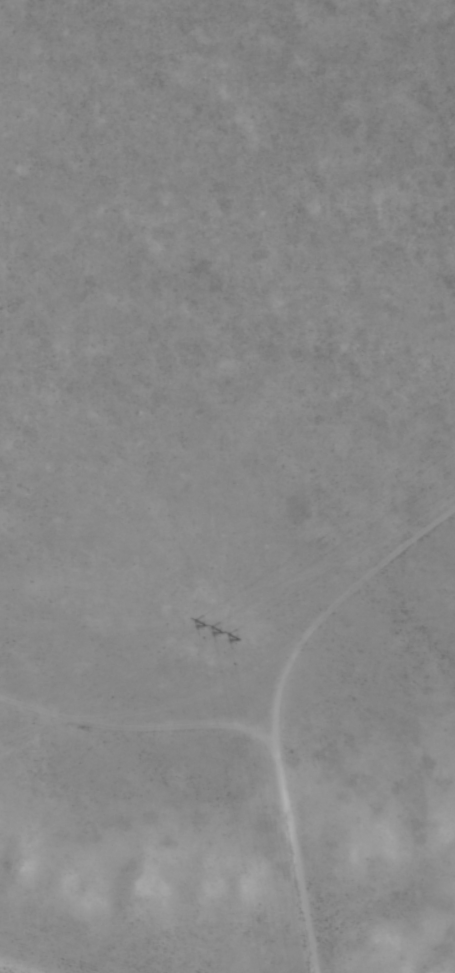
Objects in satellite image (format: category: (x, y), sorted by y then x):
power tower: (222, 630)

